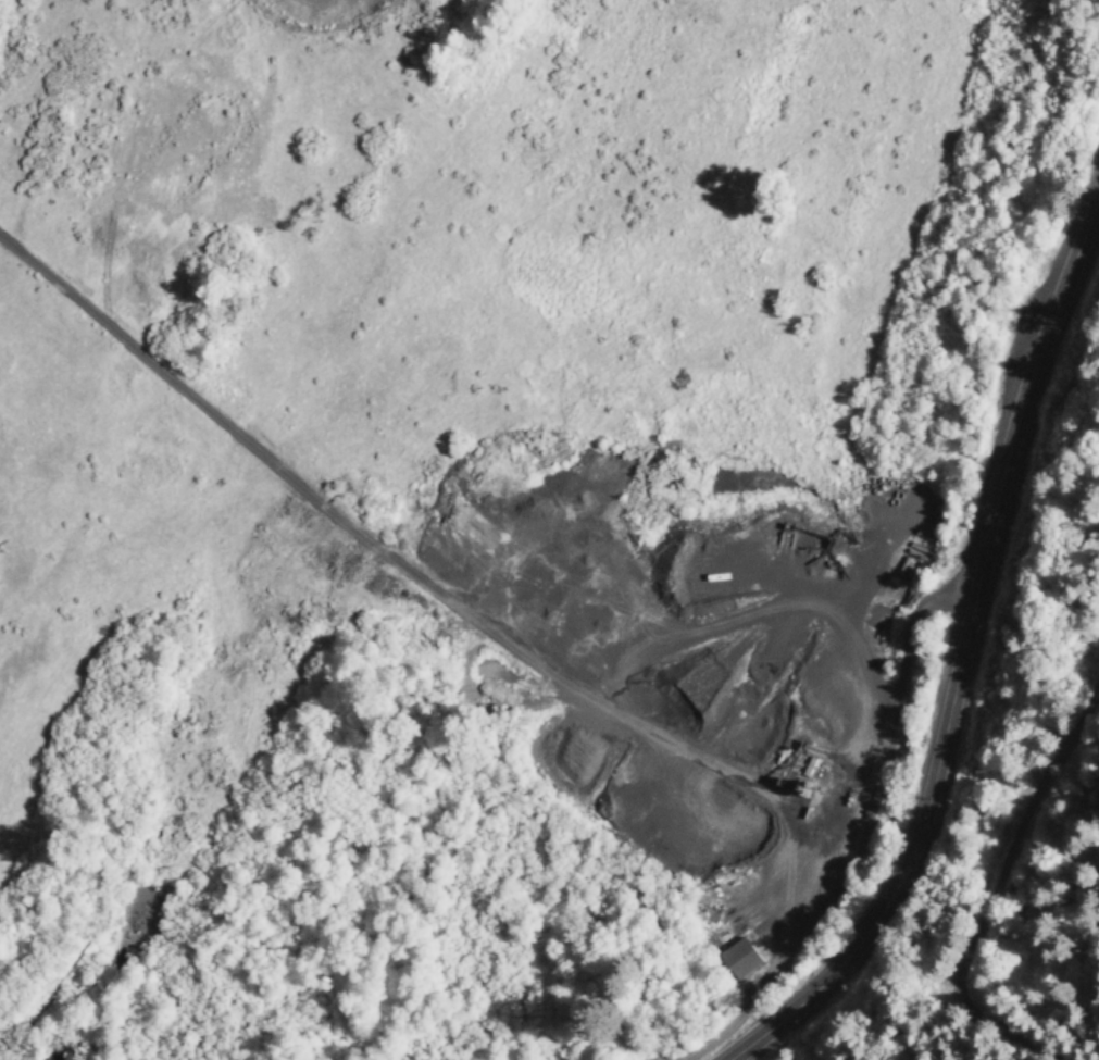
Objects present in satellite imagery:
road: (961, 652)
building: (741, 958)

